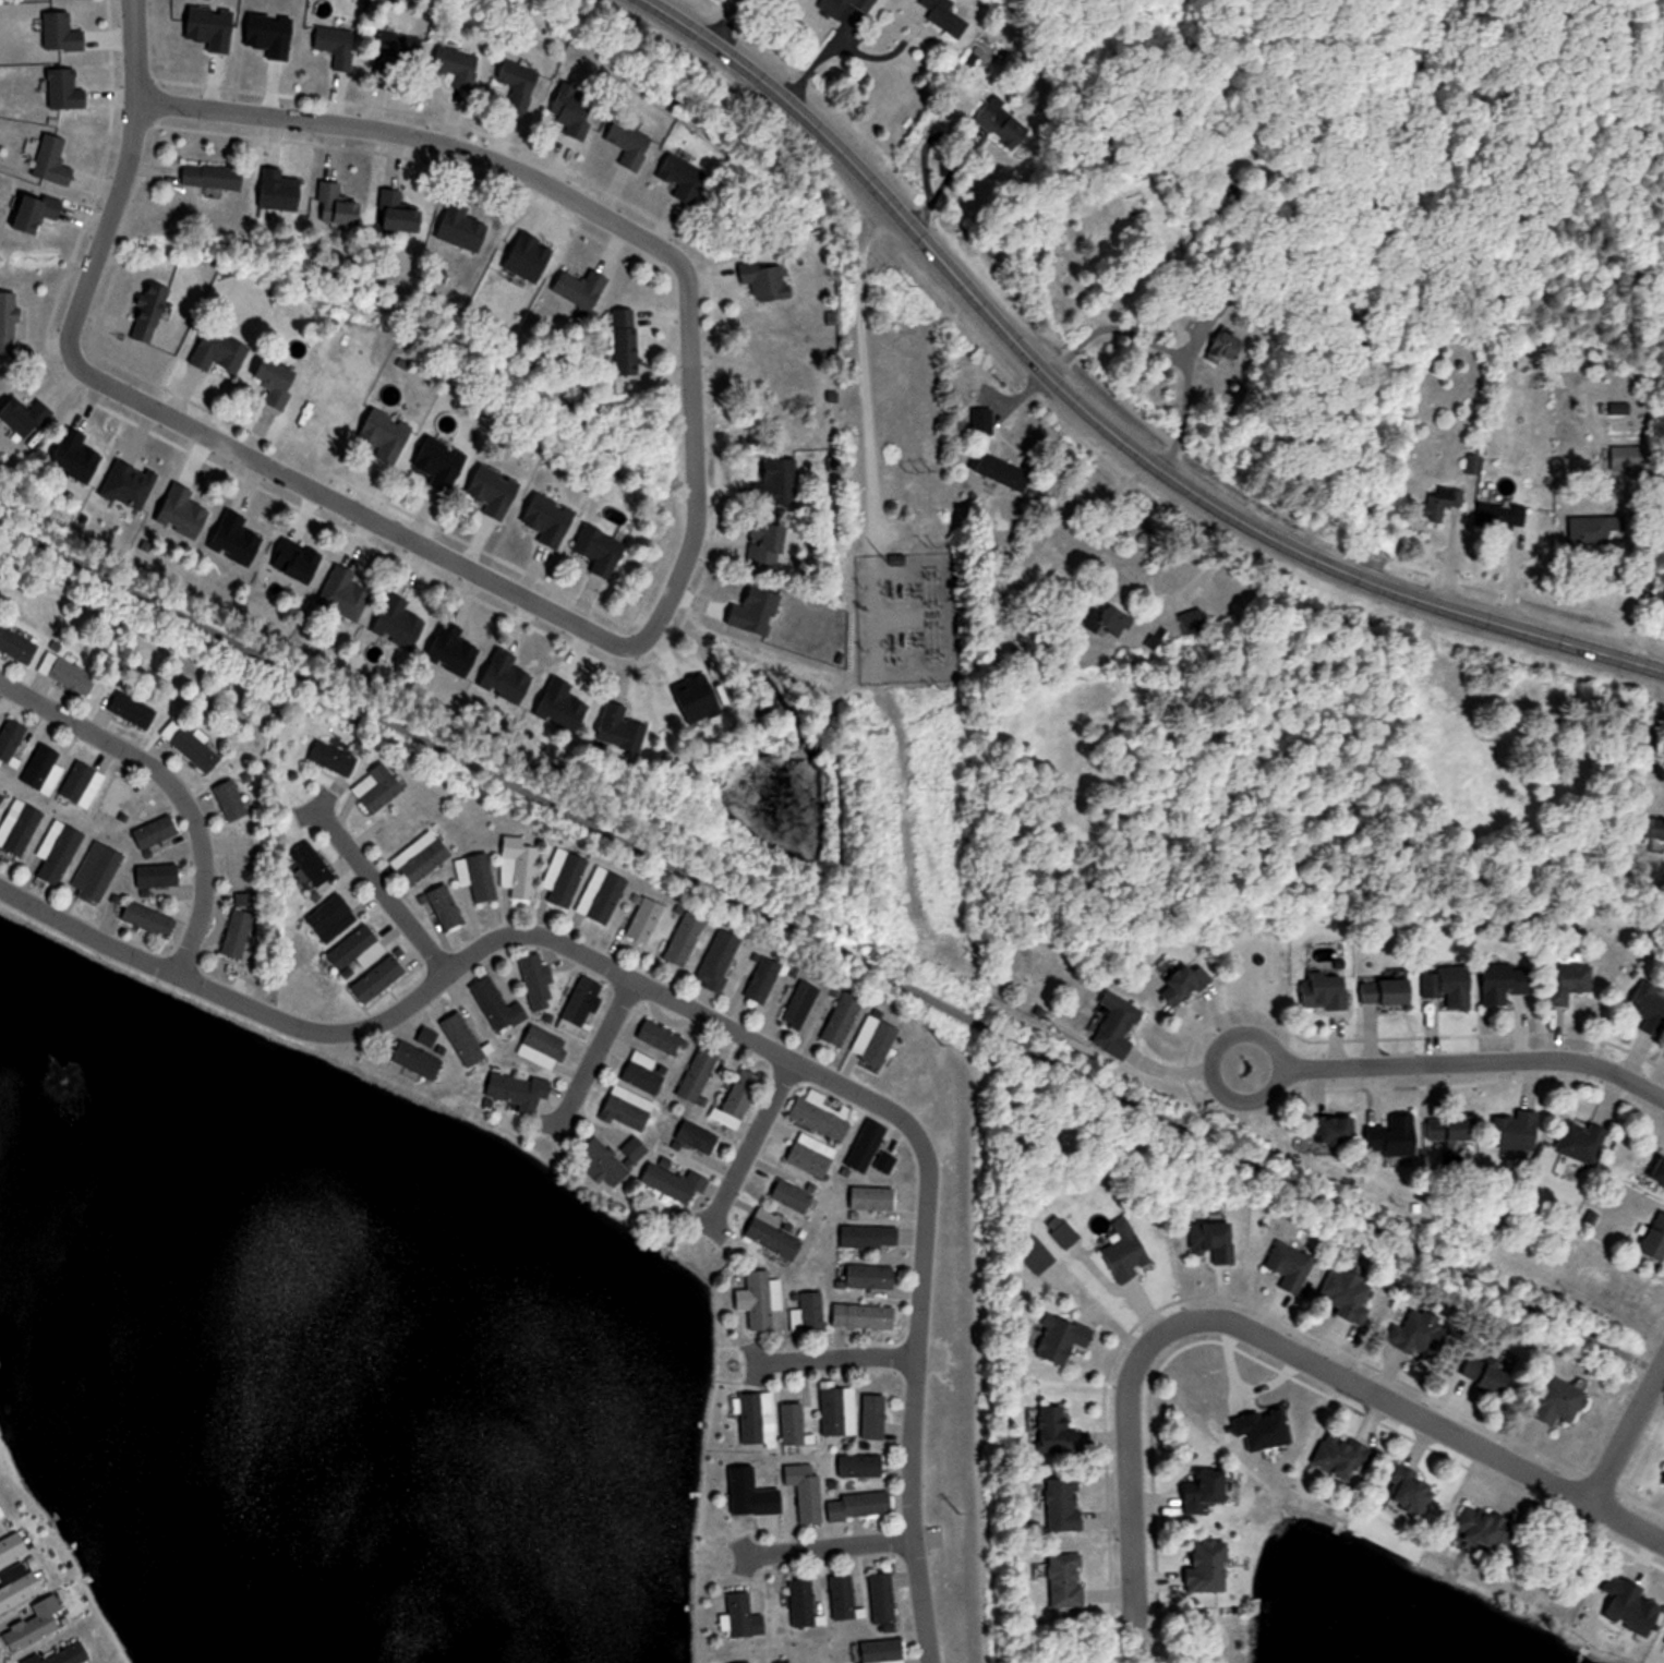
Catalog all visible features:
building: (847, 9)
building: (949, 15)
building: (62, 33)
road: (837, 41)
building: (337, 46)
road: (134, 51)
building: (398, 51)
building: (455, 67)
building: (518, 84)
building: (65, 89)
building: (574, 112)
building: (1006, 134)
building: (630, 144)
building: (53, 160)
building: (213, 177)
building: (682, 177)
building: (280, 191)
building: (336, 206)
building: (38, 212)
building: (398, 213)
power tower: (913, 275)
building: (767, 280)
building: (581, 288)
building: (148, 312)
building: (10, 322)
road: (1166, 344)
building: (1225, 347)
building: (220, 351)
road: (863, 372)
building: (277, 379)
building: (1616, 407)
building: (21, 418)
building: (982, 422)
road: (1095, 424)
building: (1623, 458)
power tower: (913, 465)
building: (1003, 472)
building: (1442, 504)
building: (1502, 516)
building: (1592, 531)
building: (603, 553)
road: (1638, 592)
road: (875, 608)
power substation: (902, 612)
road: (659, 615)
building: (1112, 616)
building: (17, 646)
building: (69, 673)
building: (135, 711)
building: (622, 728)
building: (11, 739)
road: (1648, 744)
building: (192, 747)
building: (336, 757)
building: (43, 769)
building: (83, 784)
power tower: (940, 784)
road: (172, 785)
building: (378, 787)
building: (1, 797)
building: (118, 797)
building: (231, 800)
building: (20, 827)
building: (405, 827)
building: (157, 833)
building: (1654, 835)
building: (59, 852)
building: (421, 858)
building: (313, 865)
building: (519, 866)
building: (98, 872)
building: (158, 876)
building: (478, 877)
building: (565, 877)
road: (379, 892)
building: (602, 895)
building: (446, 908)
building: (331, 918)
building: (644, 919)
building: (149, 920)
building: (241, 927)
building: (685, 939)
road: (832, 948)
building: (353, 950)
building: (720, 960)
building: (379, 979)
building: (763, 979)
building: (1507, 983)
building: (1566, 983)
building: (1187, 984)
building: (539, 986)
building: (1449, 986)
building: (1326, 991)
building: (1388, 991)
building: (583, 1000)
building: (800, 1004)
building: (497, 1005)
building: (1650, 1007)
road: (700, 1012)
building: (843, 1019)
building: (1118, 1025)
building: (427, 1036)
building: (661, 1036)
building: (463, 1039)
power tower: (940, 1039)
building: (544, 1047)
road: (598, 1051)
building: (418, 1060)
road: (1475, 1061)
road: (1210, 1062)
building: (700, 1071)
building: (643, 1076)
building: (518, 1089)
building: (739, 1099)
building: (628, 1107)
building: (820, 1118)
building: (1452, 1126)
building: (1336, 1128)
building: (1517, 1129)
building: (1394, 1134)
building: (698, 1136)
building: (1582, 1140)
road: (752, 1143)
building: (866, 1146)
building: (636, 1148)
building: (812, 1155)
building: (604, 1165)
building: (1657, 1169)
building: (675, 1182)
building: (793, 1196)
building: (872, 1197)
building: (1062, 1231)
building: (870, 1237)
building: (1653, 1238)
building: (774, 1239)
building: (1214, 1240)
building: (1037, 1254)
building: (1128, 1255)
building: (1291, 1265)
building: (871, 1276)
building: (1348, 1292)
building: (810, 1313)
building: (865, 1316)
building: (1423, 1333)
building: (1062, 1338)
road: (834, 1358)
building: (1487, 1373)
building: (1563, 1400)
building: (837, 1409)
road: (1406, 1409)
building: (758, 1419)
building: (793, 1424)
building: (1058, 1431)
road: (1627, 1432)
building: (1345, 1456)
building: (861, 1465)
building: (1208, 1491)
building: (1409, 1491)
building: (806, 1492)
building: (759, 1494)
road: (1129, 1501)
building: (1065, 1504)
building: (860, 1505)
power tower: (955, 1508)
building: (0, 1517)
building: (1483, 1527)
building: (13, 1546)
road: (829, 1547)
building: (1209, 1566)
building: (1068, 1580)
building: (21, 1589)
building: (843, 1598)
building: (883, 1598)
building: (803, 1602)
building: (37, 1624)
building: (883, 1651)
building: (68, 1653)
building: (752, 1662)

